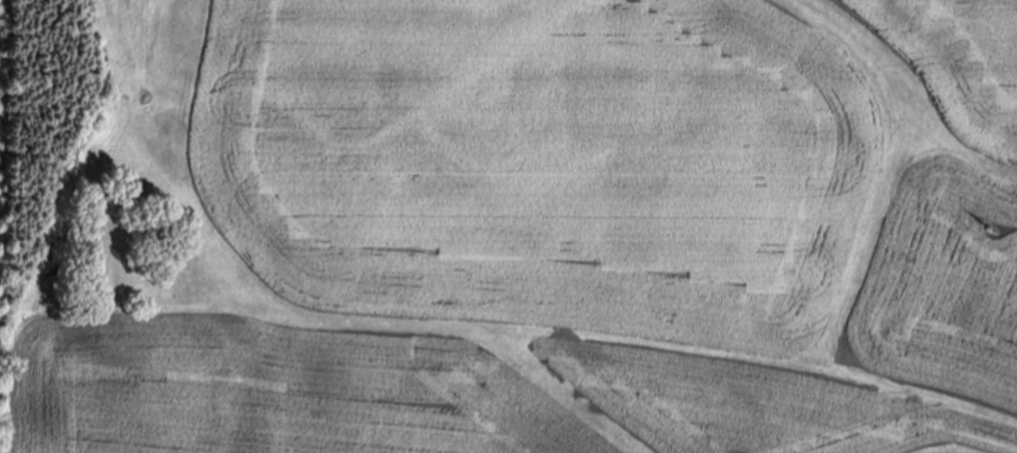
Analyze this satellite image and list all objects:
crop: (553, 231)
power tower: (999, 233)

